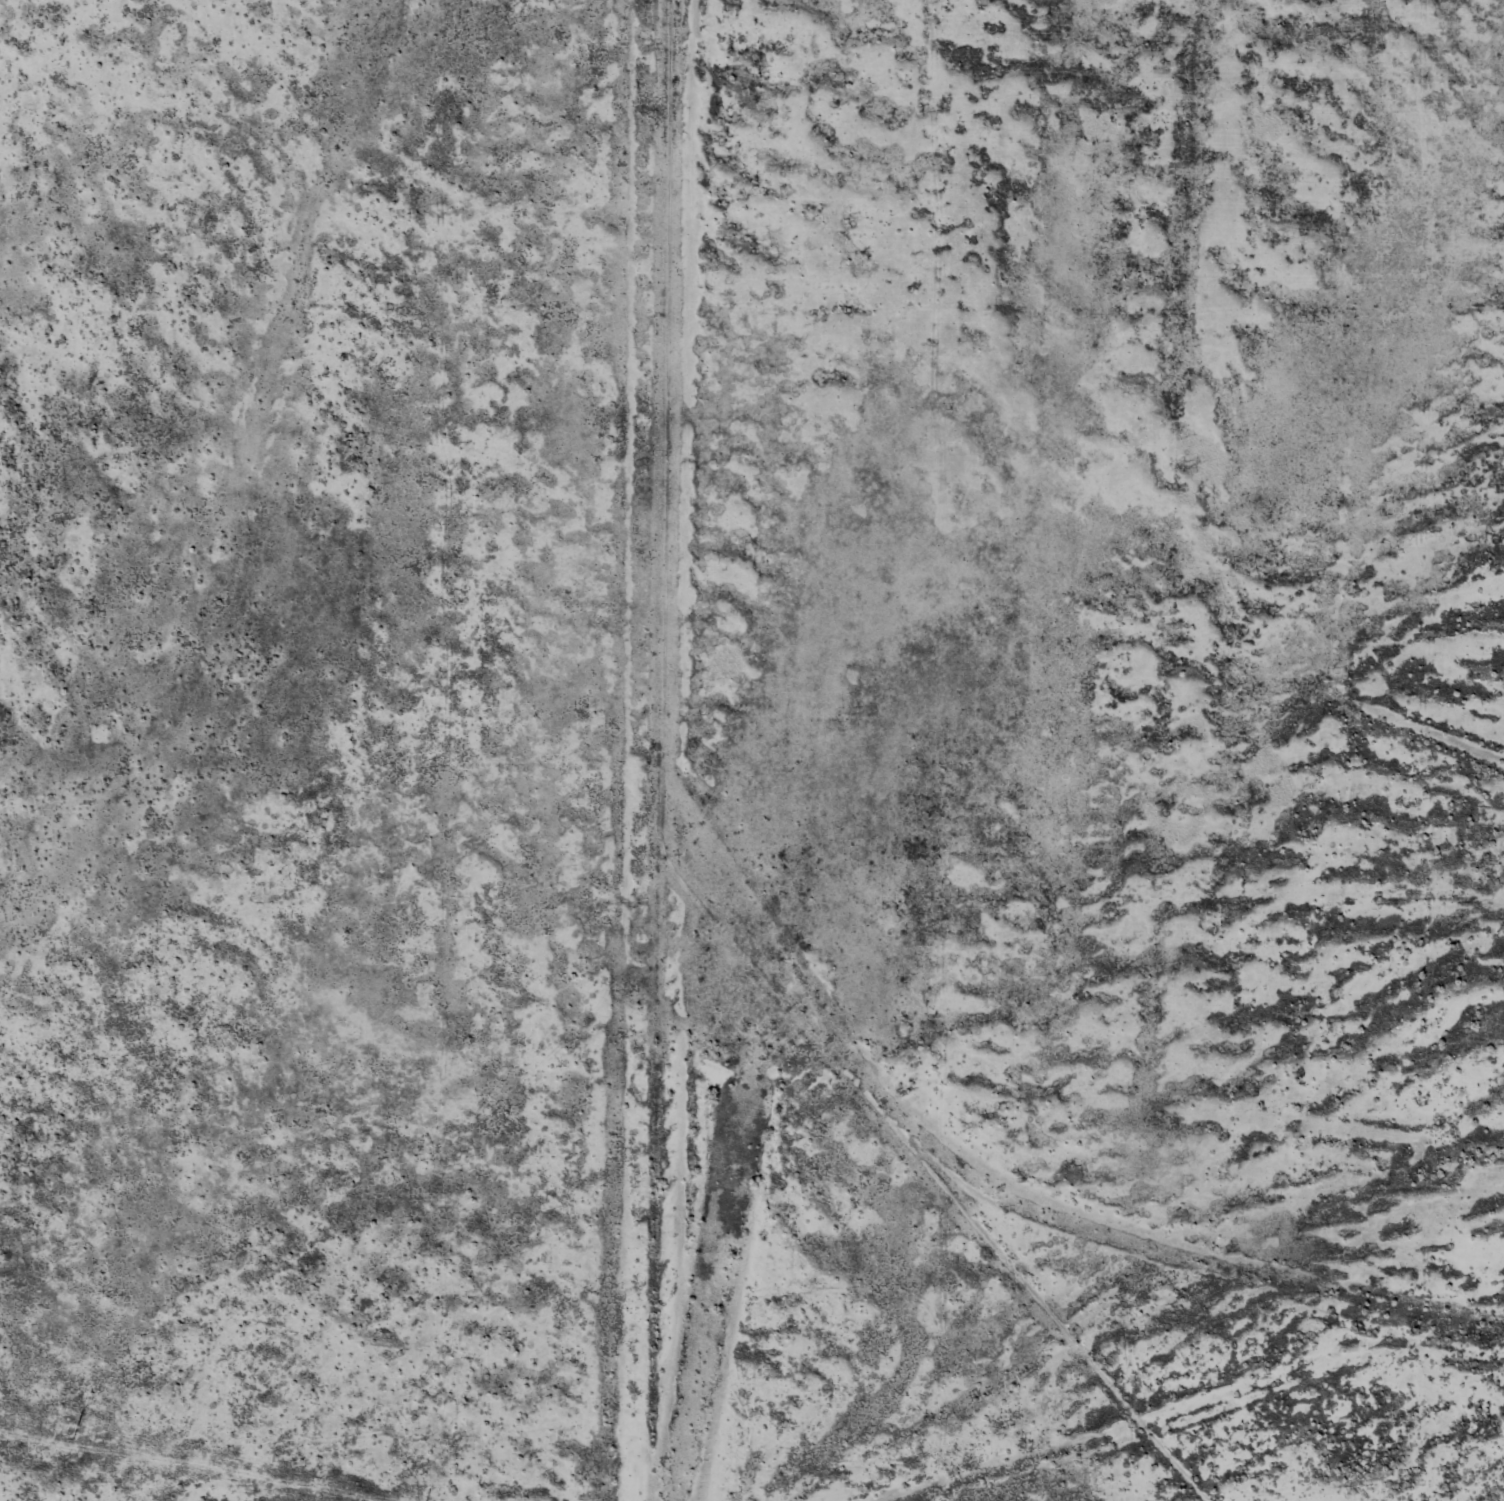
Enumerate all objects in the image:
power tower: (76, 1433)

